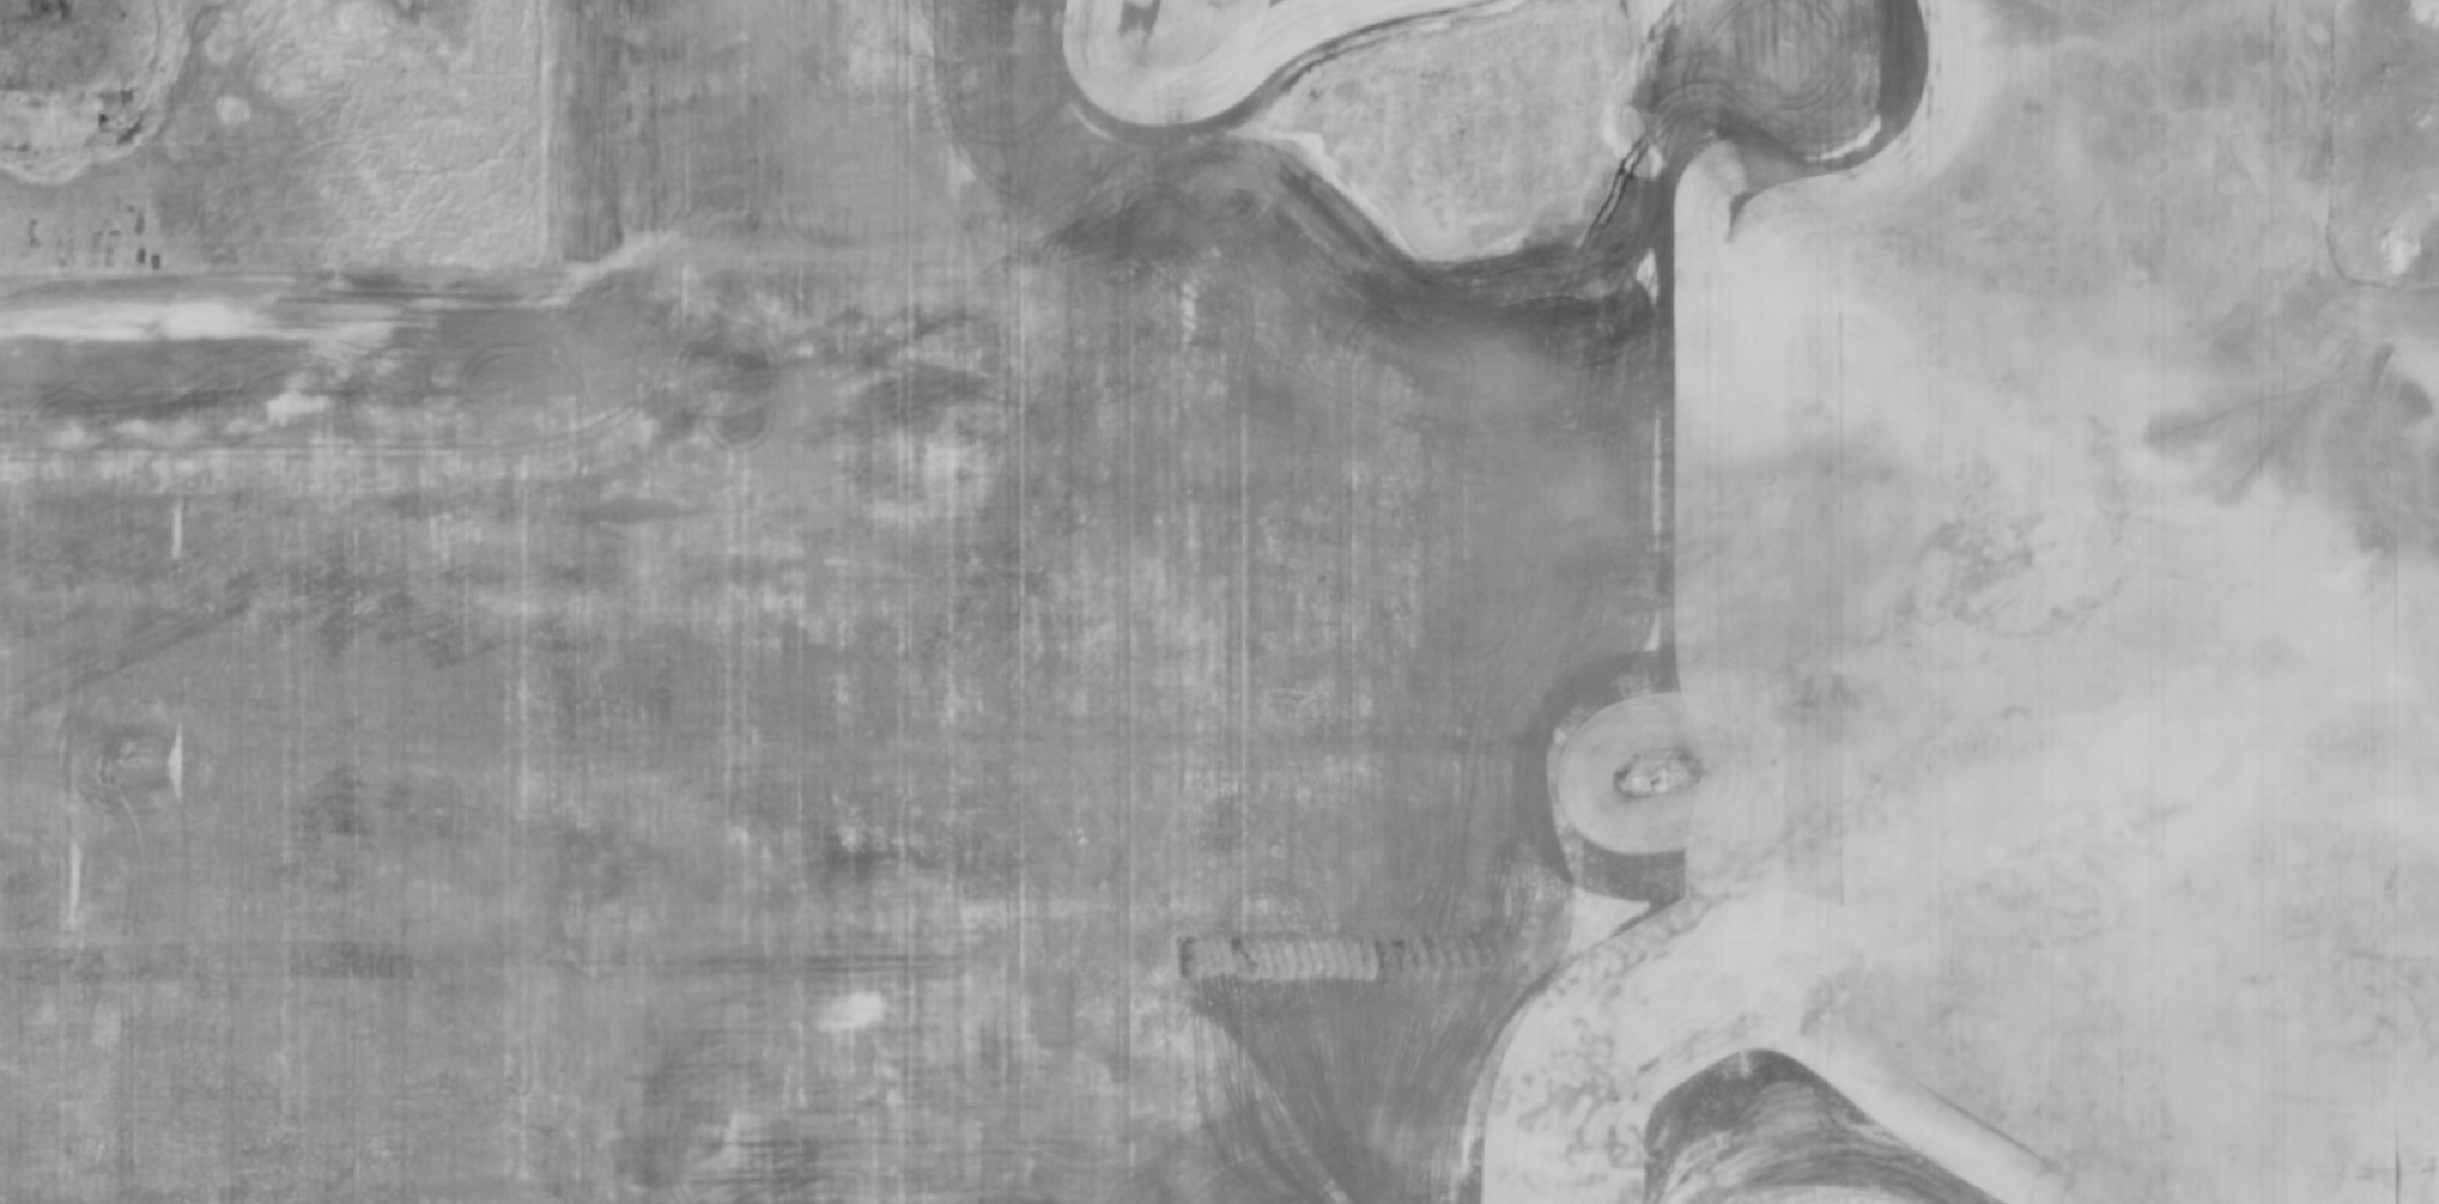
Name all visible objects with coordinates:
quarry: (2382, 142)

